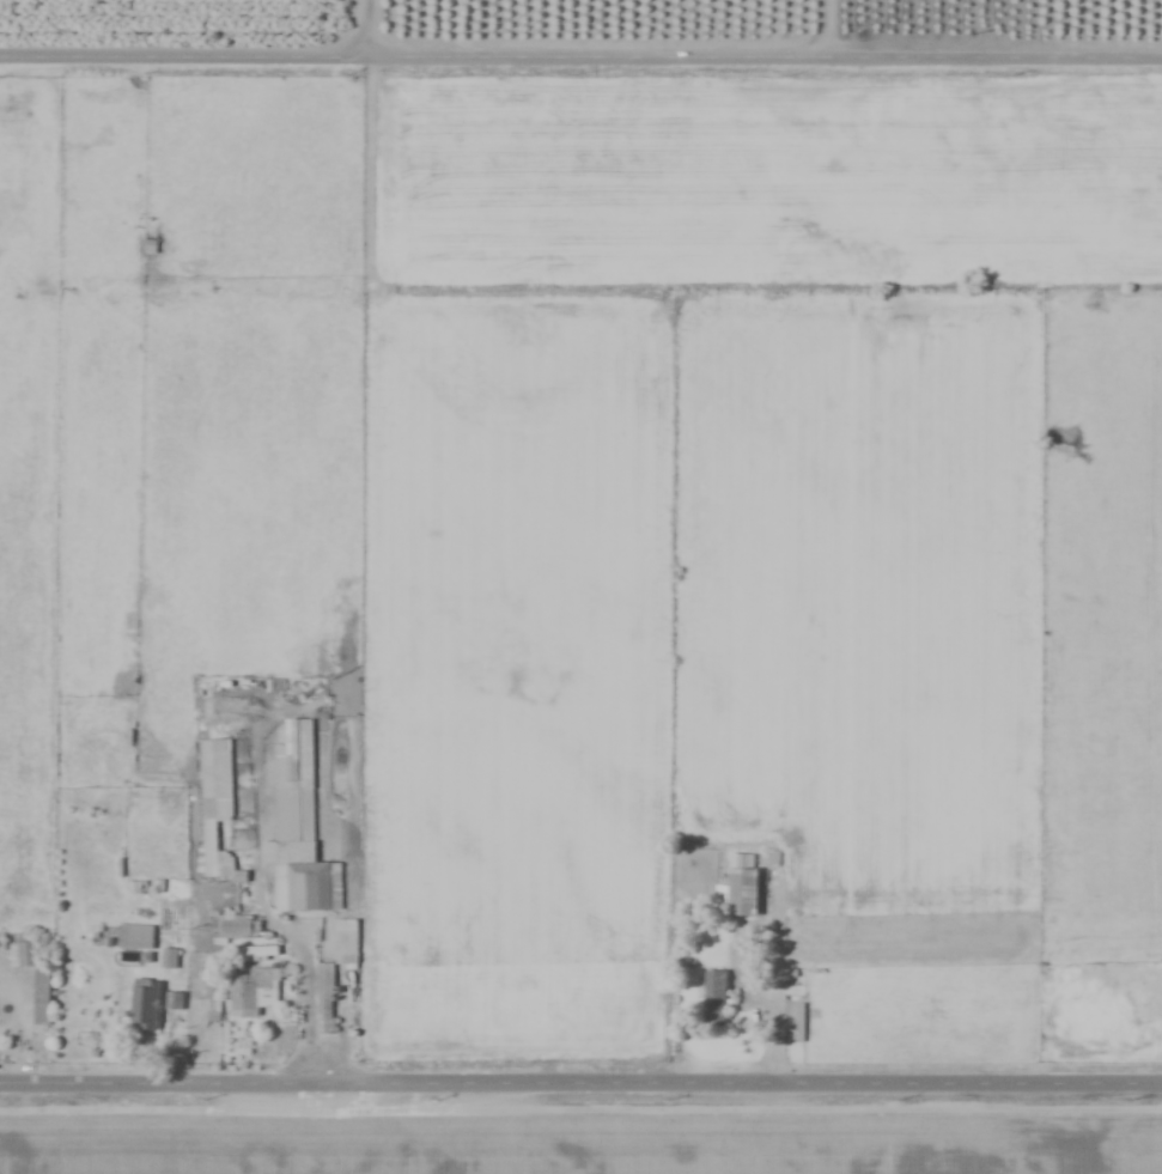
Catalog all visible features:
road: (831, 28)
road: (369, 29)
road: (580, 56)
building: (215, 833)
building: (298, 846)
building: (740, 893)
building: (133, 937)
building: (343, 942)
building: (250, 954)
road: (306, 978)
building: (32, 980)
road: (778, 983)
building: (254, 993)
building: (713, 994)
building: (323, 1000)
building: (174, 1002)
building: (144, 1006)
road: (580, 1078)

